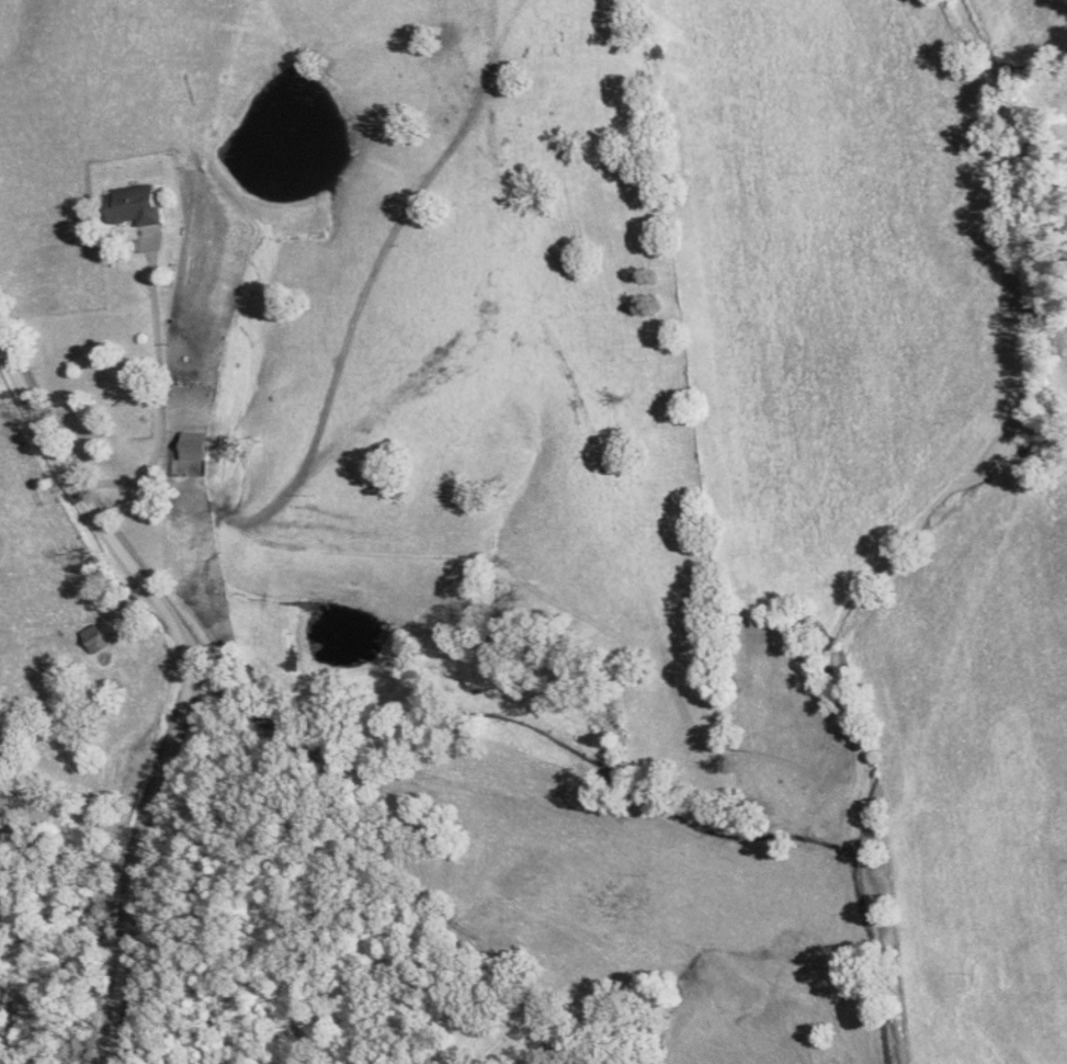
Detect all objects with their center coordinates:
building: (140, 205)
building: (198, 446)
building: (99, 638)
road: (193, 676)

